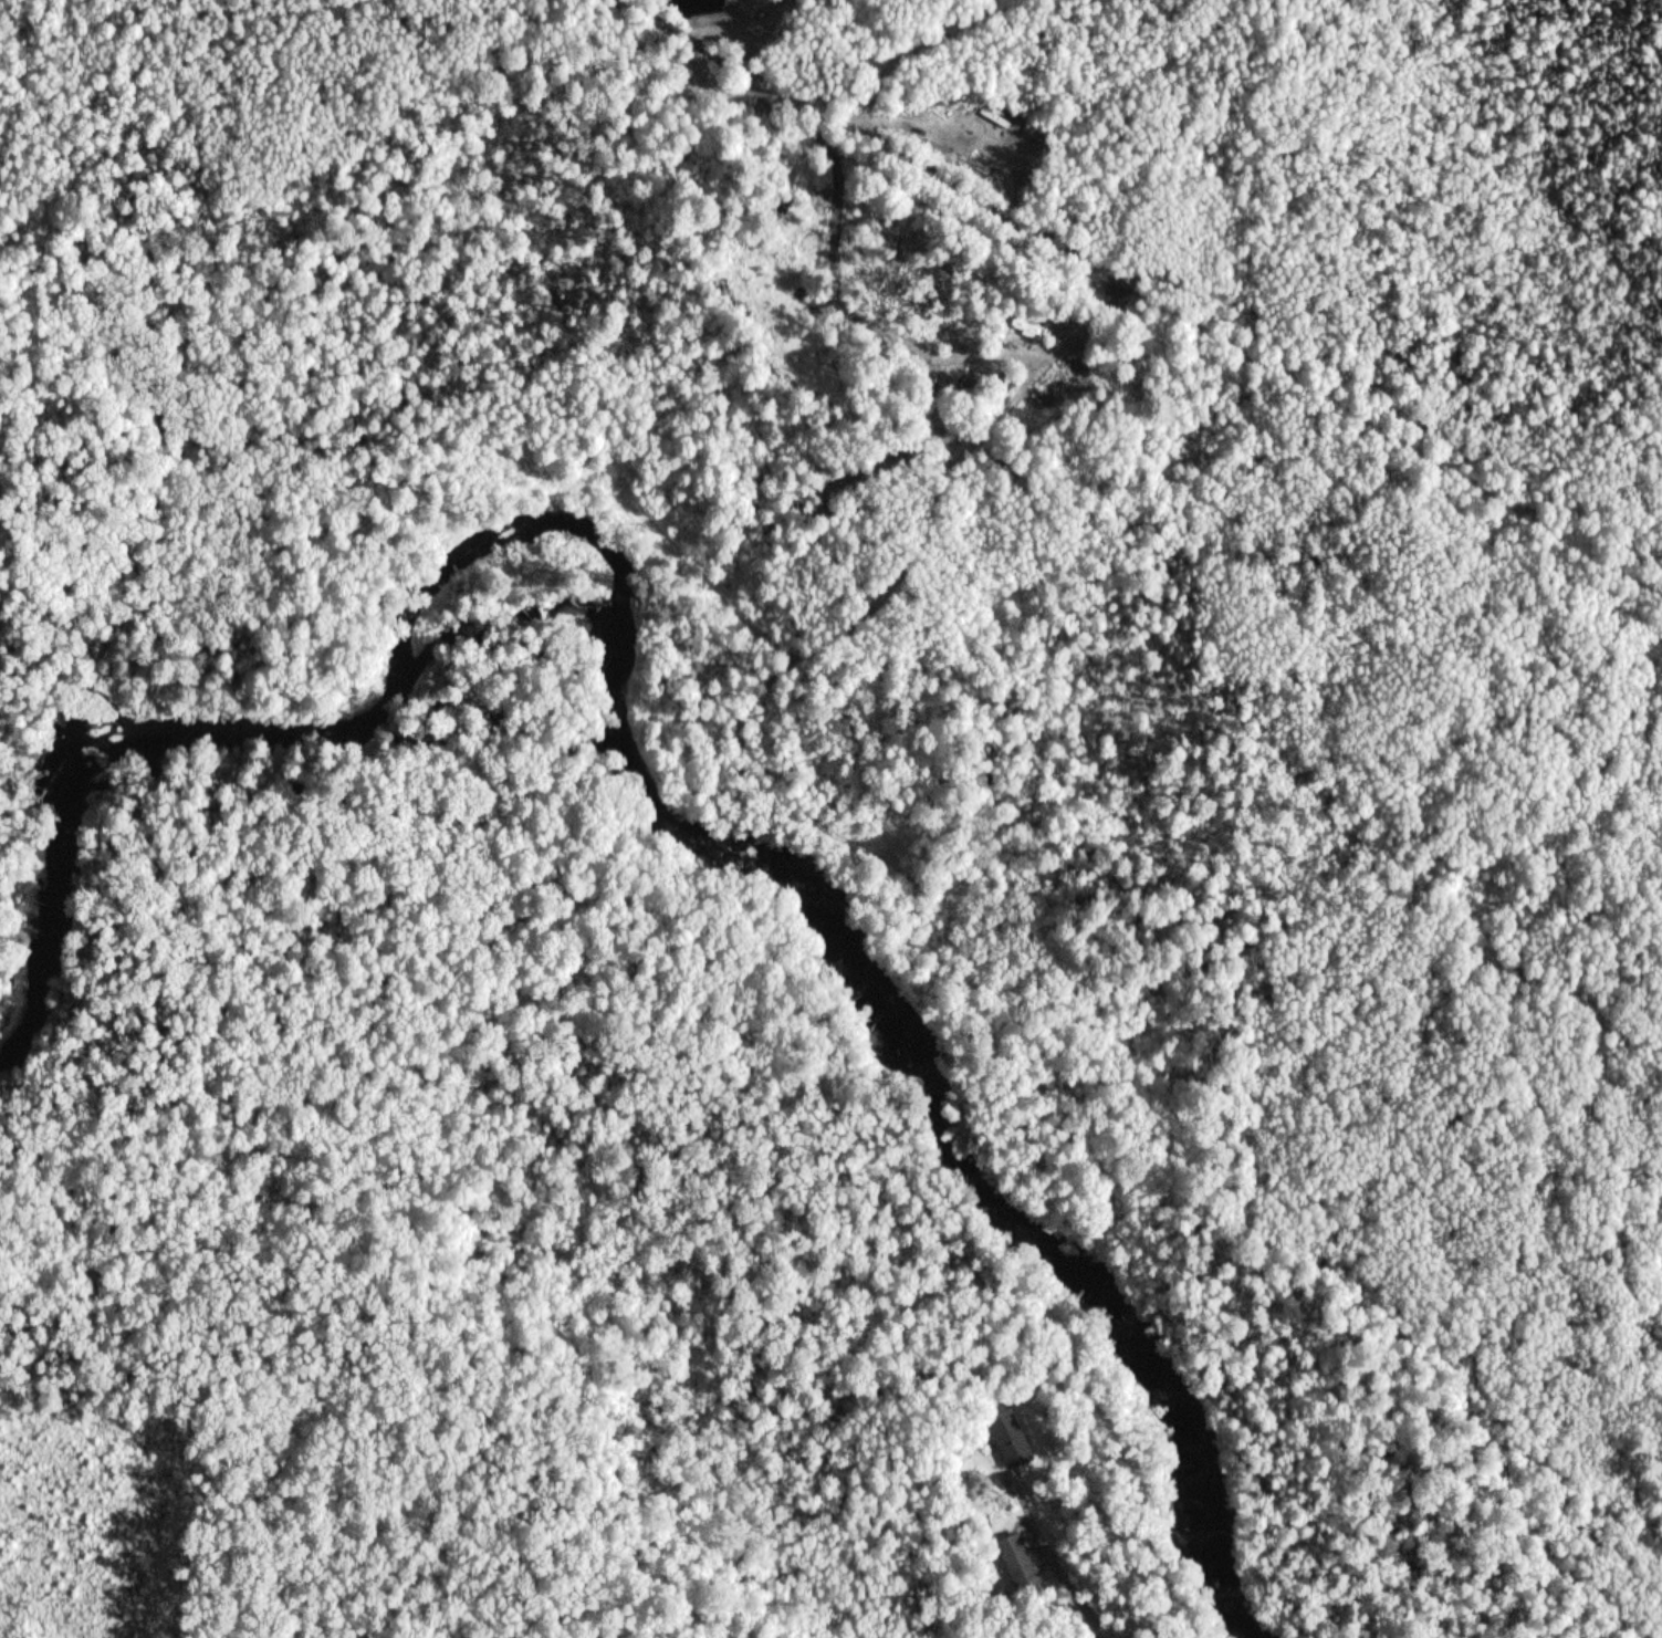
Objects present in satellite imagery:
river: (735, 852)
river: (48, 910)
building: (1011, 1440)
building: (1017, 1562)
road: (1094, 1635)

